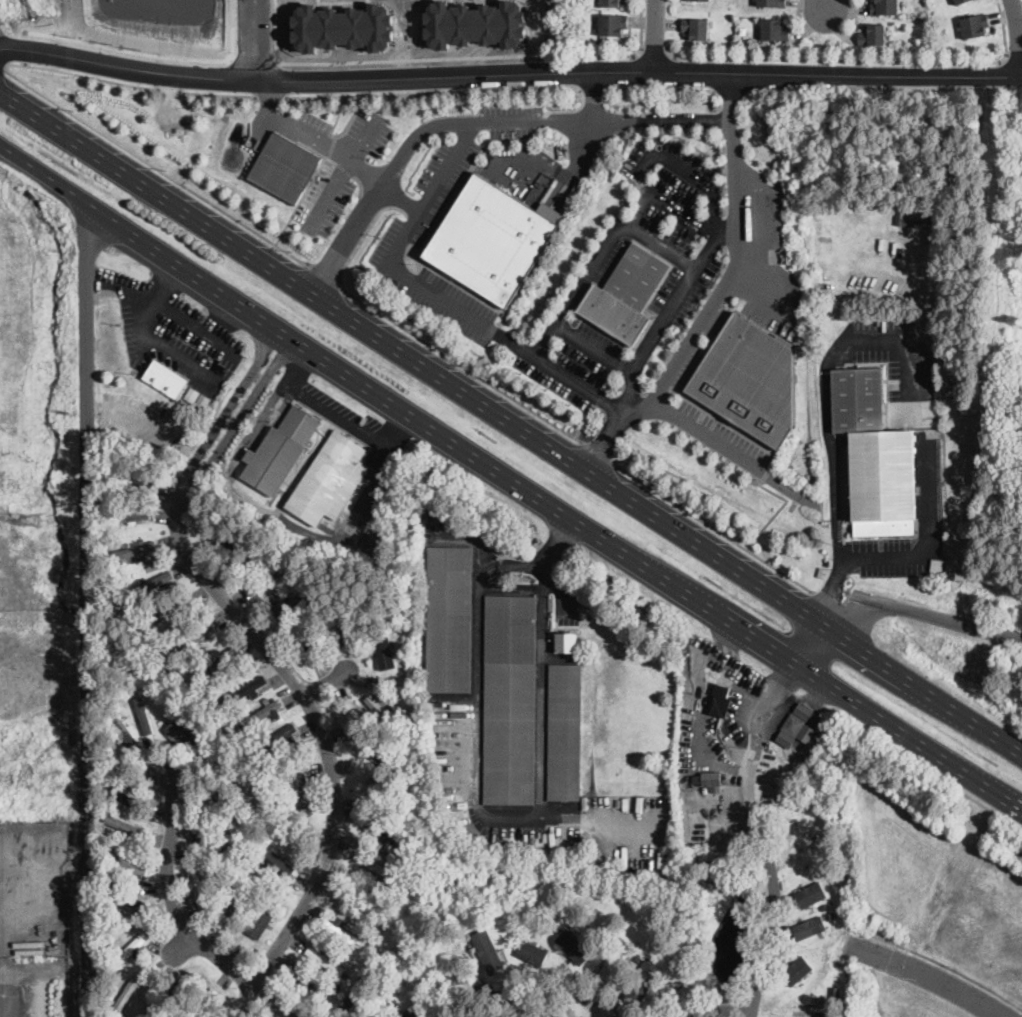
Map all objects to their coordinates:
building: (960, 2)
building: (610, 3)
building: (771, 3)
road: (826, 5)
building: (883, 7)
road: (799, 18)
road: (1018, 24)
building: (612, 25)
building: (974, 26)
building: (696, 28)
building: (774, 30)
road: (657, 35)
building: (872, 35)
road: (246, 39)
road: (266, 39)
road: (1, 46)
road: (654, 48)
road: (636, 53)
road: (1014, 59)
road: (863, 60)
road: (509, 74)
road: (657, 87)
road: (593, 90)
road: (456, 91)
road: (271, 97)
road: (49, 98)
road: (272, 98)
road: (338, 113)
road: (498, 120)
road: (591, 127)
building: (179, 130)
road: (327, 153)
building: (800, 165)
building: (285, 166)
road: (342, 173)
building: (532, 193)
road: (299, 199)
road: (401, 201)
road: (677, 209)
road: (743, 212)
building: (921, 220)
building: (491, 239)
road: (664, 247)
road: (393, 265)
road: (324, 271)
building: (627, 293)
road: (194, 327)
road: (553, 328)
road: (412, 332)
road: (147, 333)
parking lot: (175, 333)
road: (687, 349)
road: (825, 374)
building: (165, 379)
building: (749, 379)
building: (192, 393)
building: (203, 400)
road: (641, 405)
parking lot: (344, 414)
road: (336, 415)
road: (585, 420)
road: (509, 426)
building: (322, 431)
road: (711, 436)
road: (605, 443)
building: (279, 450)
road: (597, 452)
building: (874, 455)
road: (511, 474)
building: (135, 476)
building: (330, 479)
building: (133, 515)
power tower: (30, 518)
building: (325, 522)
road: (713, 527)
building: (222, 541)
road: (560, 541)
building: (135, 550)
road: (915, 553)
road: (523, 564)
building: (264, 579)
road: (545, 579)
building: (150, 583)
building: (297, 603)
road: (88, 609)
building: (170, 610)
road: (923, 611)
building: (307, 614)
building: (449, 619)
building: (340, 622)
building: (196, 635)
building: (309, 643)
building: (567, 643)
road: (817, 644)
building: (389, 660)
building: (219, 662)
road: (279, 662)
building: (713, 675)
building: (246, 677)
road: (327, 680)
building: (245, 690)
building: (510, 699)
building: (720, 701)
building: (381, 711)
building: (264, 712)
building: (143, 714)
building: (120, 724)
building: (792, 725)
building: (565, 732)
building: (182, 735)
building: (406, 736)
building: (279, 738)
building: (380, 757)
building: (196, 764)
road: (931, 771)
building: (229, 778)
building: (706, 781)
building: (383, 789)
building: (305, 791)
building: (131, 801)
building: (231, 809)
road: (491, 811)
road: (599, 814)
building: (123, 823)
building: (380, 831)
road: (757, 833)
building: (205, 841)
building: (220, 843)
building: (215, 860)
building: (129, 865)
building: (375, 865)
building: (806, 866)
building: (279, 867)
building: (398, 877)
building: (197, 886)
building: (211, 888)
road: (169, 894)
building: (807, 896)
building: (134, 902)
building: (823, 906)
building: (228, 915)
building: (830, 916)
building: (809, 927)
building: (258, 931)
building: (342, 933)
building: (372, 941)
building: (573, 945)
building: (652, 947)
building: (130, 949)
building: (487, 950)
building: (533, 951)
building: (637, 957)
building: (612, 958)
building: (322, 959)
road: (944, 965)
road: (41, 966)
building: (796, 969)
road: (929, 972)
building: (346, 975)
building: (308, 981)
building: (642, 983)
building: (197, 988)
building: (832, 991)
building: (127, 994)
building: (355, 995)
building: (170, 999)
road: (273, 1000)
building: (207, 1003)
building: (365, 1003)
building: (397, 1007)
road: (527, 1010)
road: (725, 1010)
building: (409, 1016)

